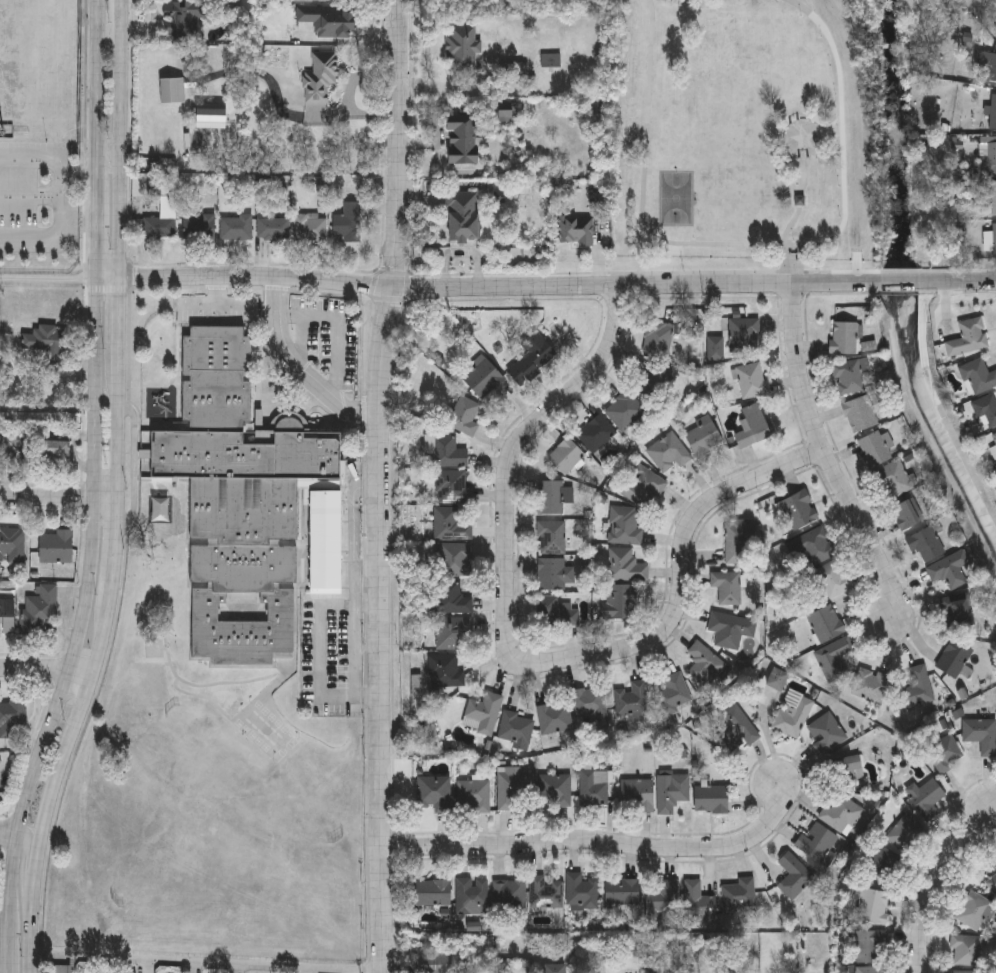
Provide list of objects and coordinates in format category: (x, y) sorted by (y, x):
building: (318, 1)
building: (184, 17)
building: (329, 18)
building: (995, 27)
building: (995, 29)
building: (471, 49)
building: (552, 62)
building: (988, 67)
building: (514, 72)
building: (319, 75)
road: (100, 101)
building: (993, 112)
building: (211, 113)
park: (731, 122)
road: (800, 123)
building: (465, 140)
road: (832, 142)
building: (988, 155)
road: (35, 162)
road: (79, 176)
building: (990, 193)
road: (29, 199)
park: (675, 199)
building: (464, 215)
road: (792, 221)
building: (349, 222)
building: (200, 225)
building: (159, 227)
building: (236, 227)
building: (274, 227)
building: (310, 228)
road: (54, 231)
building: (576, 232)
road: (691, 237)
road: (100, 241)
building: (994, 242)
road: (756, 245)
road: (641, 253)
road: (50, 278)
road: (959, 281)
road: (900, 282)
road: (488, 286)
building: (742, 336)
building: (843, 338)
building: (967, 338)
building: (656, 339)
building: (45, 346)
building: (527, 358)
road: (298, 367)
building: (480, 377)
building: (847, 377)
building: (976, 377)
building: (750, 381)
building: (622, 410)
building: (985, 411)
building: (460, 413)
building: (859, 414)
building: (752, 426)
building: (593, 433)
building: (702, 436)
building: (994, 437)
building: (13, 444)
building: (874, 449)
building: (443, 450)
building: (55, 451)
building: (665, 452)
building: (564, 455)
road: (829, 462)
building: (893, 479)
road: (377, 485)
building: (449, 487)
building: (641, 487)
road: (119, 492)
building: (547, 497)
road: (59, 498)
building: (248, 502)
building: (159, 506)
building: (797, 509)
building: (905, 513)
building: (447, 524)
building: (621, 525)
building: (548, 537)
building: (735, 540)
building: (924, 543)
building: (12, 545)
building: (56, 546)
building: (812, 546)
building: (452, 559)
building: (623, 565)
building: (948, 569)
building: (551, 574)
building: (832, 579)
building: (725, 587)
building: (450, 599)
building: (618, 602)
building: (39, 609)
building: (956, 610)
building: (553, 611)
building: (7, 616)
building: (825, 624)
road: (80, 625)
building: (729, 629)
building: (451, 632)
building: (833, 658)
building: (952, 658)
building: (706, 660)
road: (516, 663)
road: (47, 667)
building: (441, 671)
building: (777, 679)
building: (869, 686)
building: (916, 688)
building: (672, 695)
building: (631, 701)
building: (587, 703)
building: (480, 713)
building: (792, 714)
building: (553, 718)
building: (12, 720)
building: (734, 726)
building: (514, 729)
building: (826, 734)
building: (956, 745)
building: (847, 772)
building: (510, 786)
building: (593, 788)
building: (557, 791)
building: (670, 792)
building: (433, 793)
building: (471, 796)
building: (636, 796)
building: (710, 799)
building: (926, 799)
building: (840, 815)
building: (904, 833)
road: (8, 834)
road: (596, 840)
building: (816, 843)
road: (26, 862)
building: (879, 864)
building: (994, 867)
building: (793, 875)
road: (937, 879)
building: (992, 884)
building: (544, 892)
building: (580, 892)
building: (432, 893)
building: (471, 893)
building: (508, 893)
building: (621, 893)
building: (739, 895)
building: (697, 902)
building: (663, 903)
building: (872, 907)
building: (973, 911)
building: (869, 946)
building: (964, 950)
building: (434, 960)
road: (176, 966)
road: (8, 968)
building: (870, 970)
building: (965, 972)

